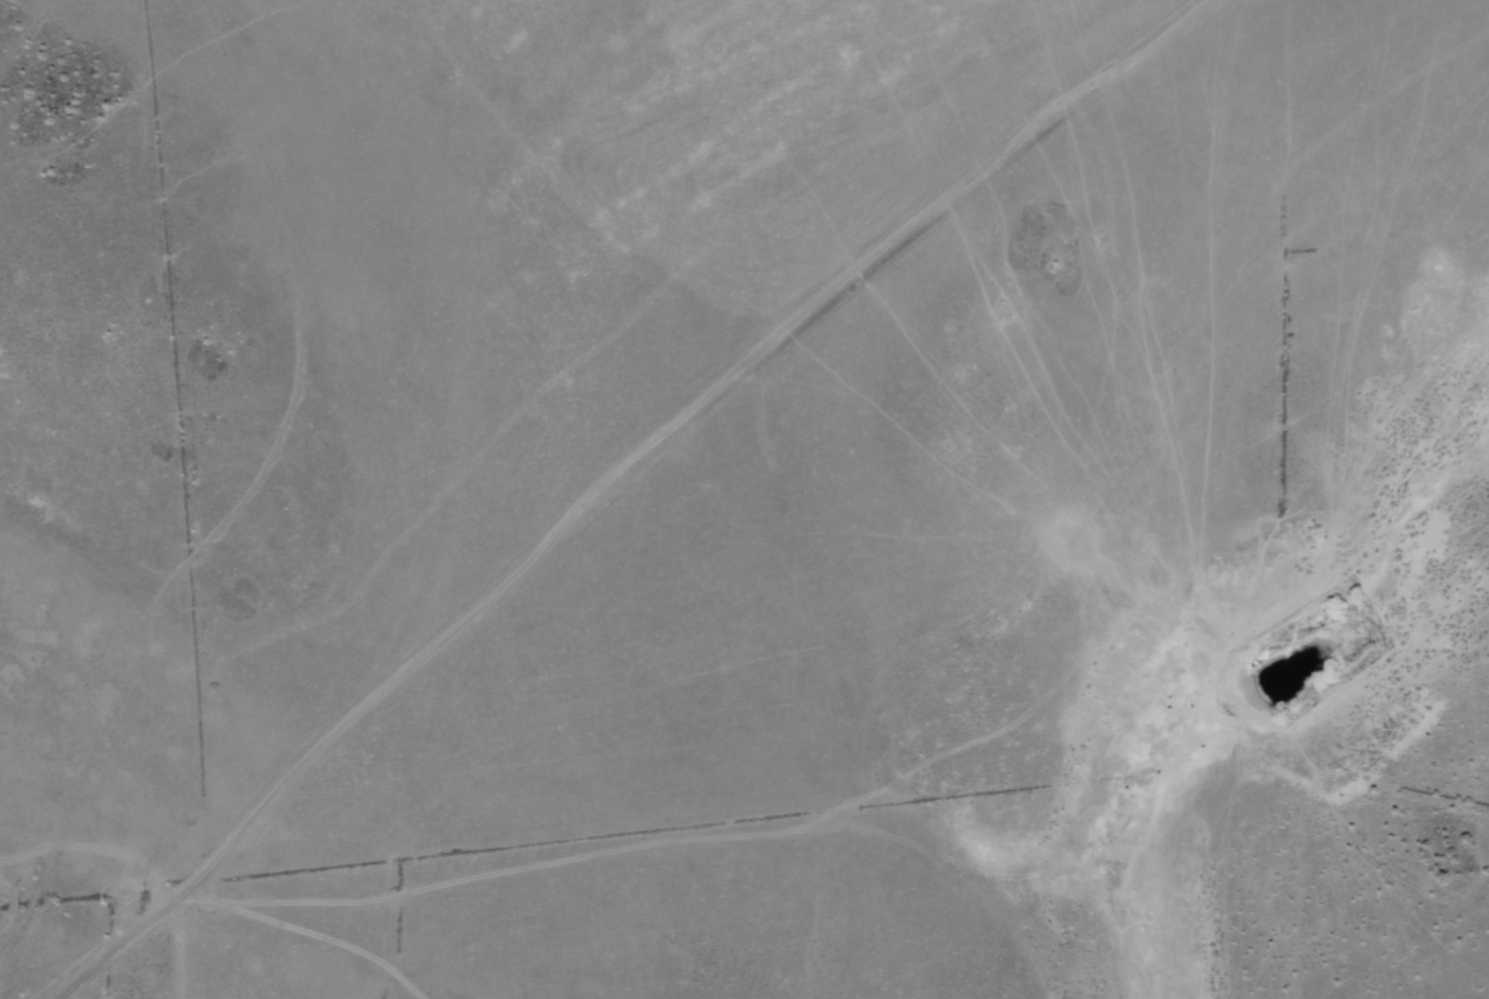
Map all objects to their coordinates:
road: (604, 482)

